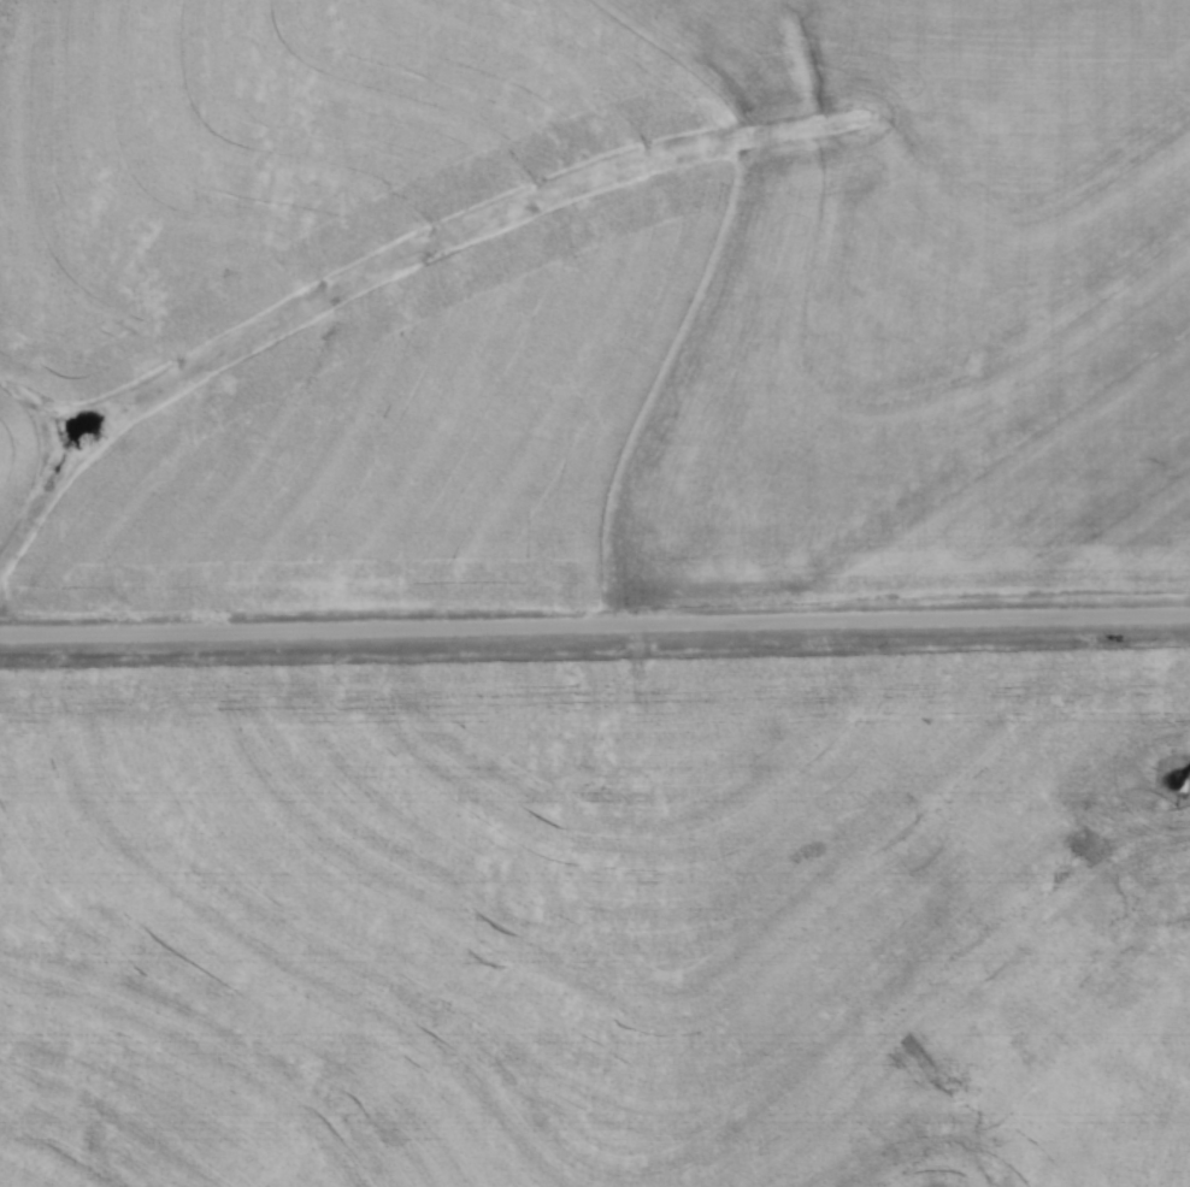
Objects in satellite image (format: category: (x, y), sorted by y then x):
road: (595, 628)

